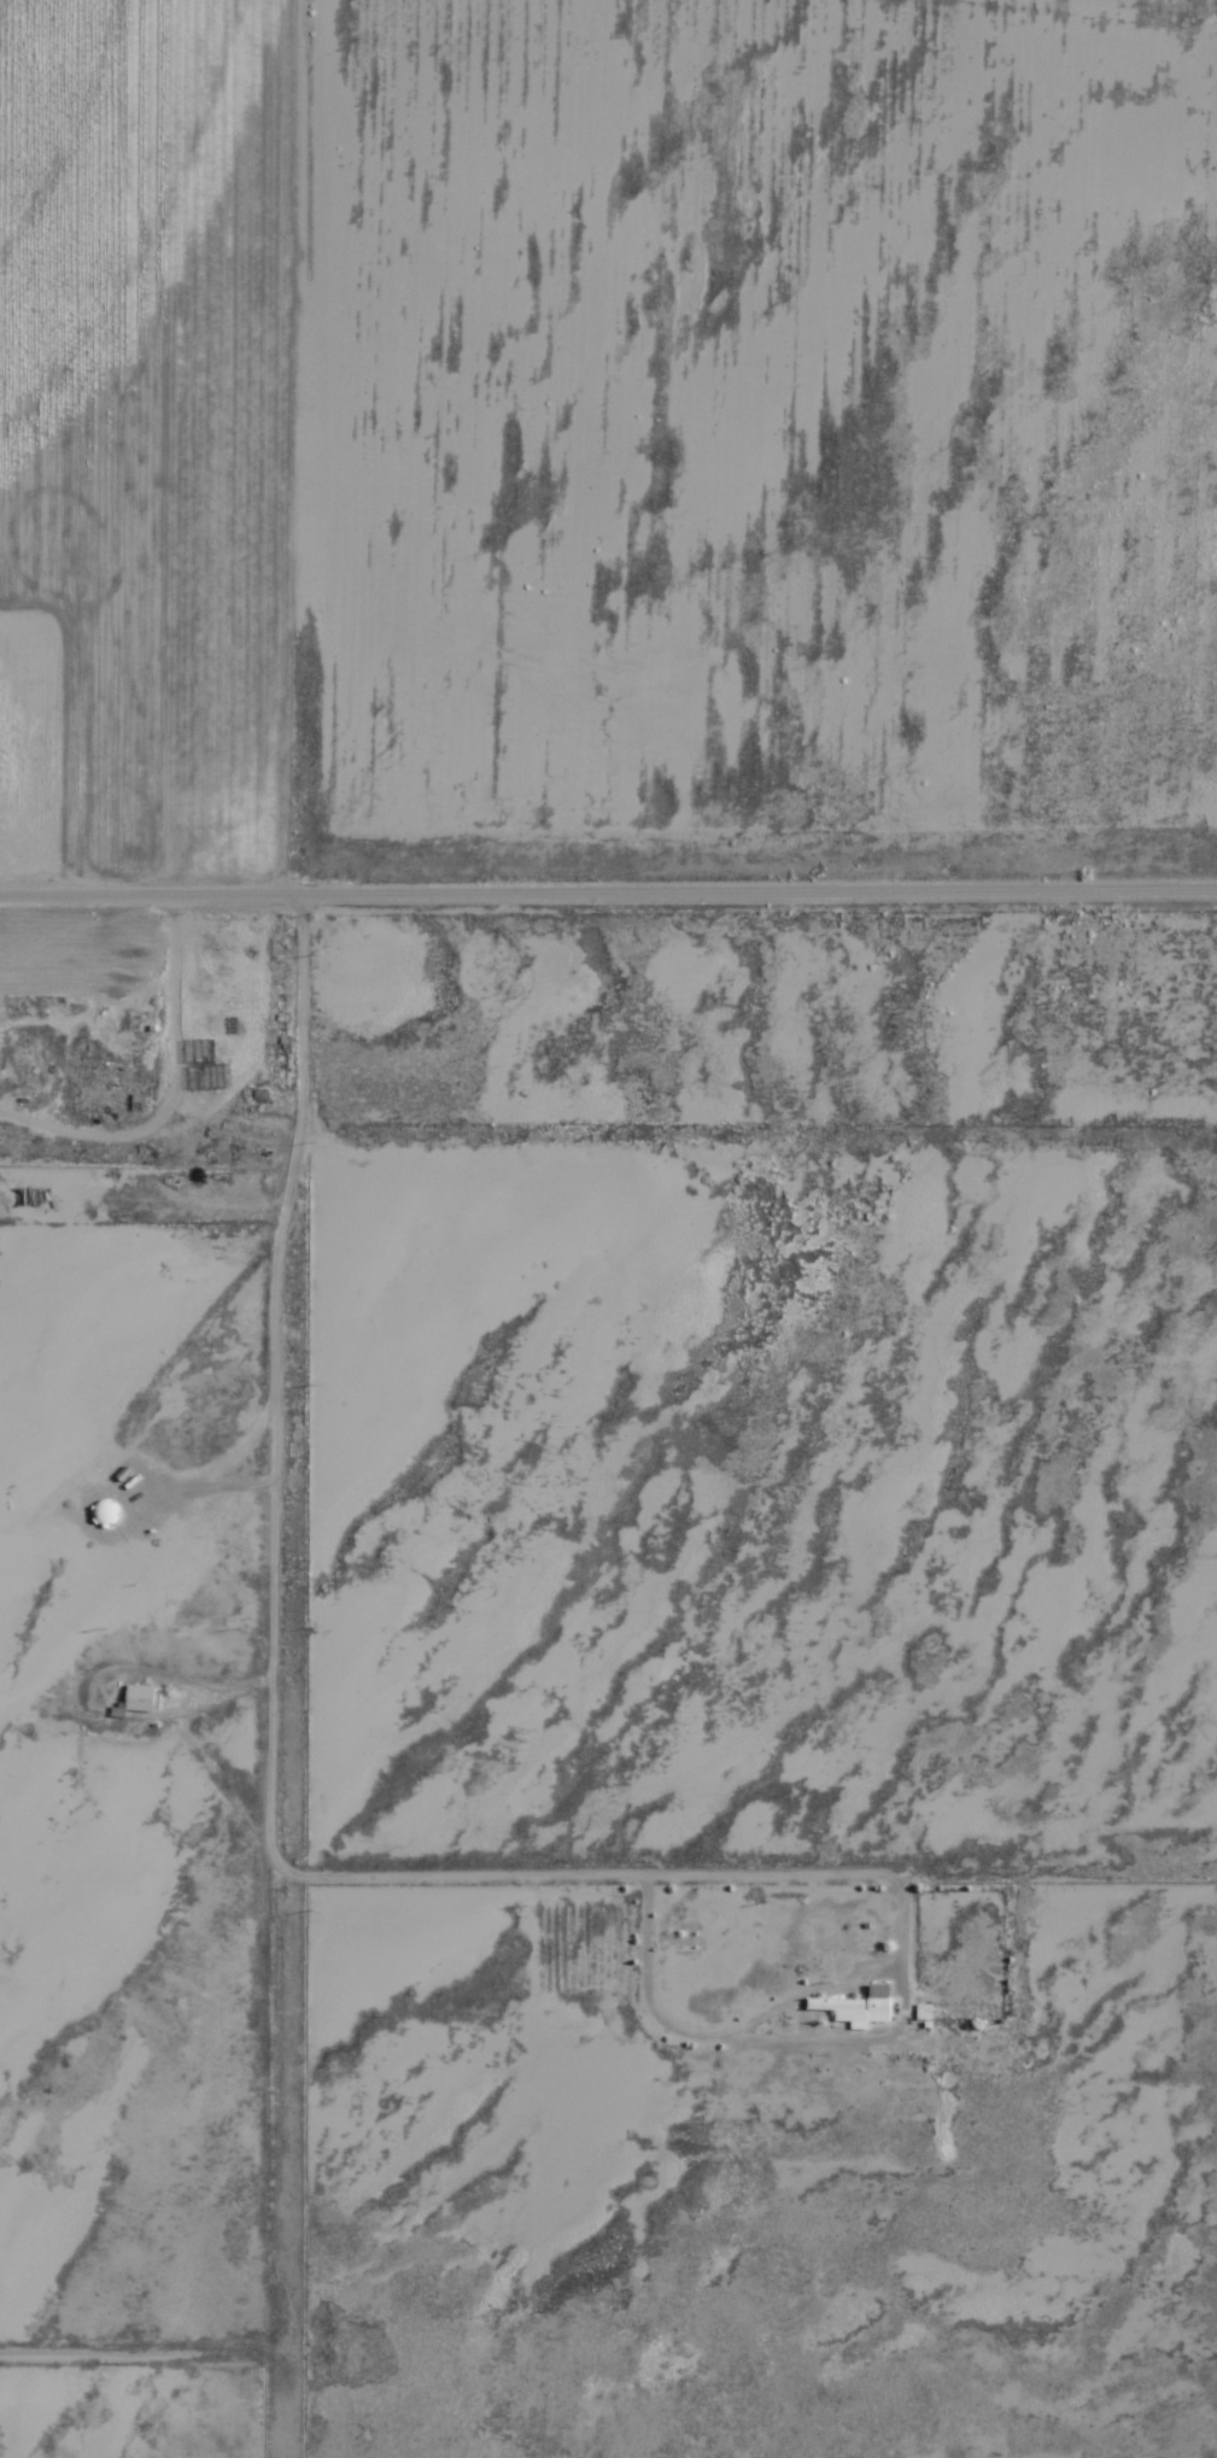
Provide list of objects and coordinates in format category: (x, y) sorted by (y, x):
road: (608, 870)
road: (770, 1526)
building: (140, 1697)
building: (859, 2007)
building: (924, 2012)

